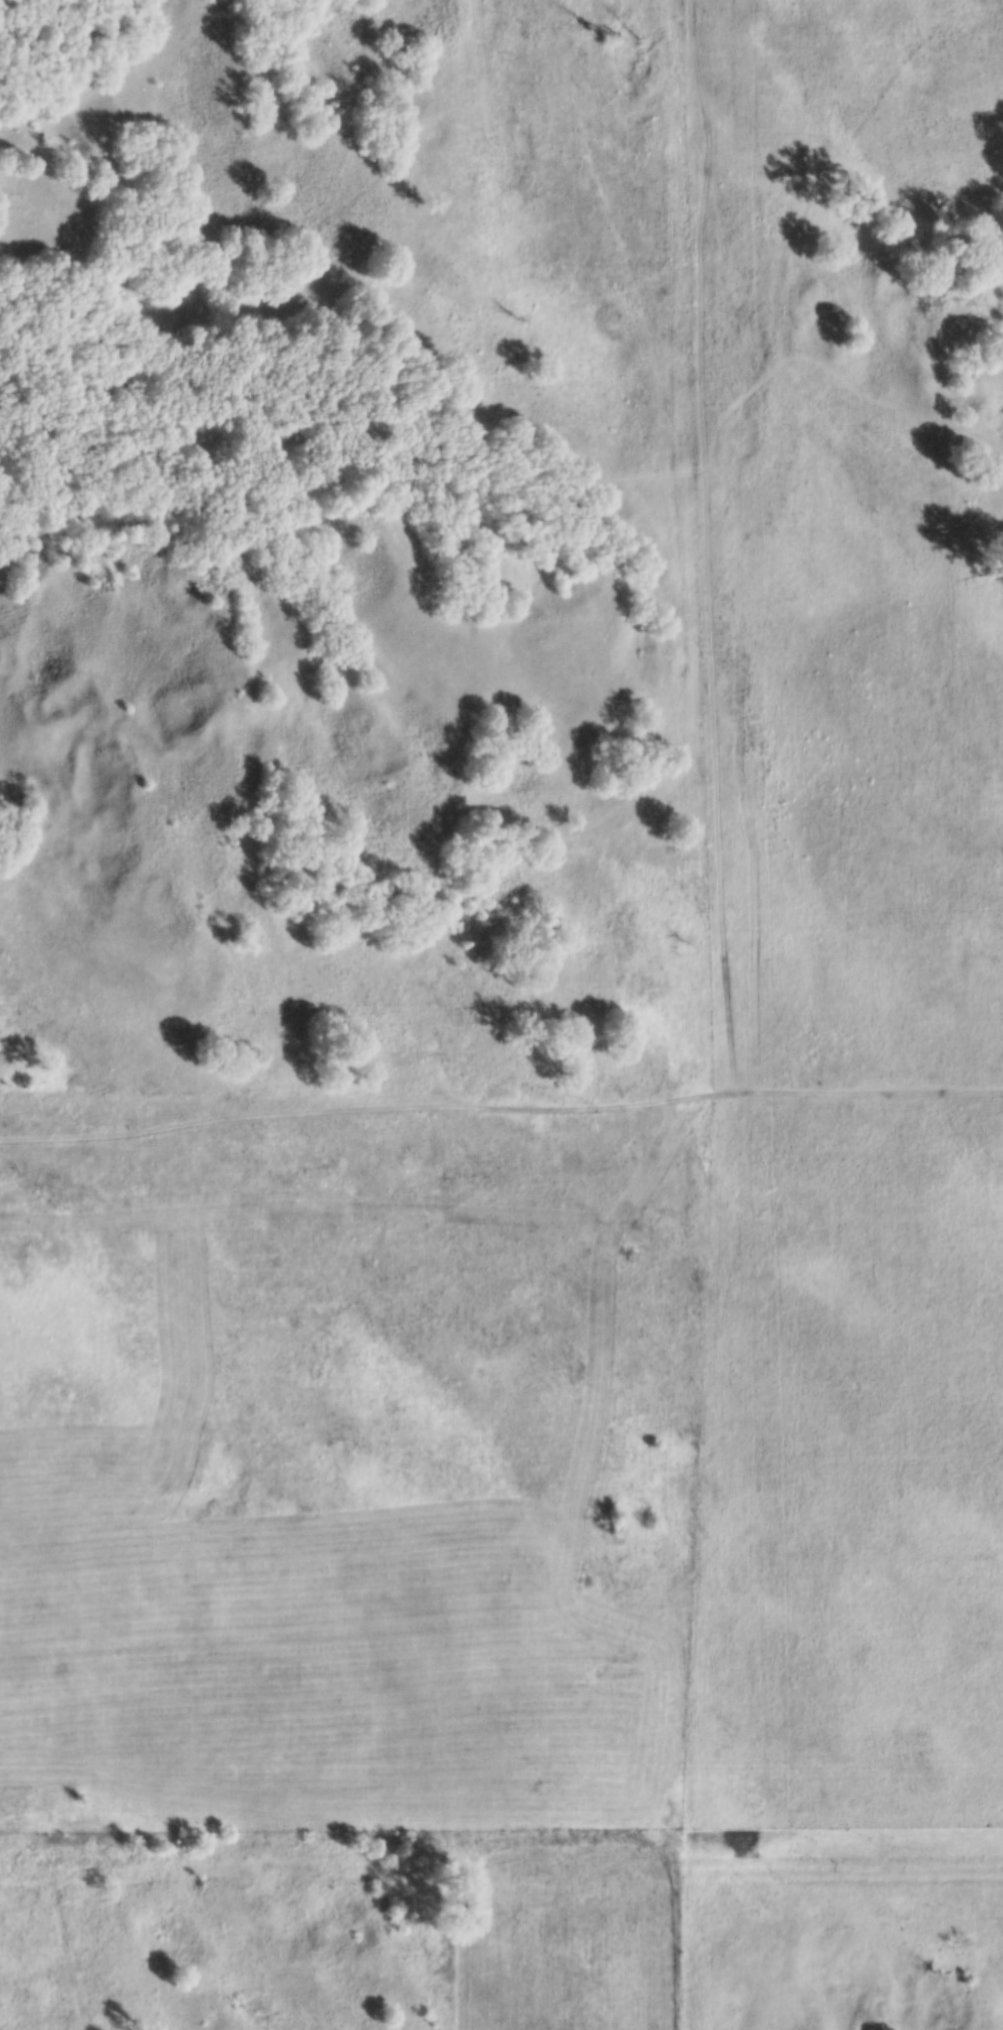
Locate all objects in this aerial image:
road: (517, 440)

